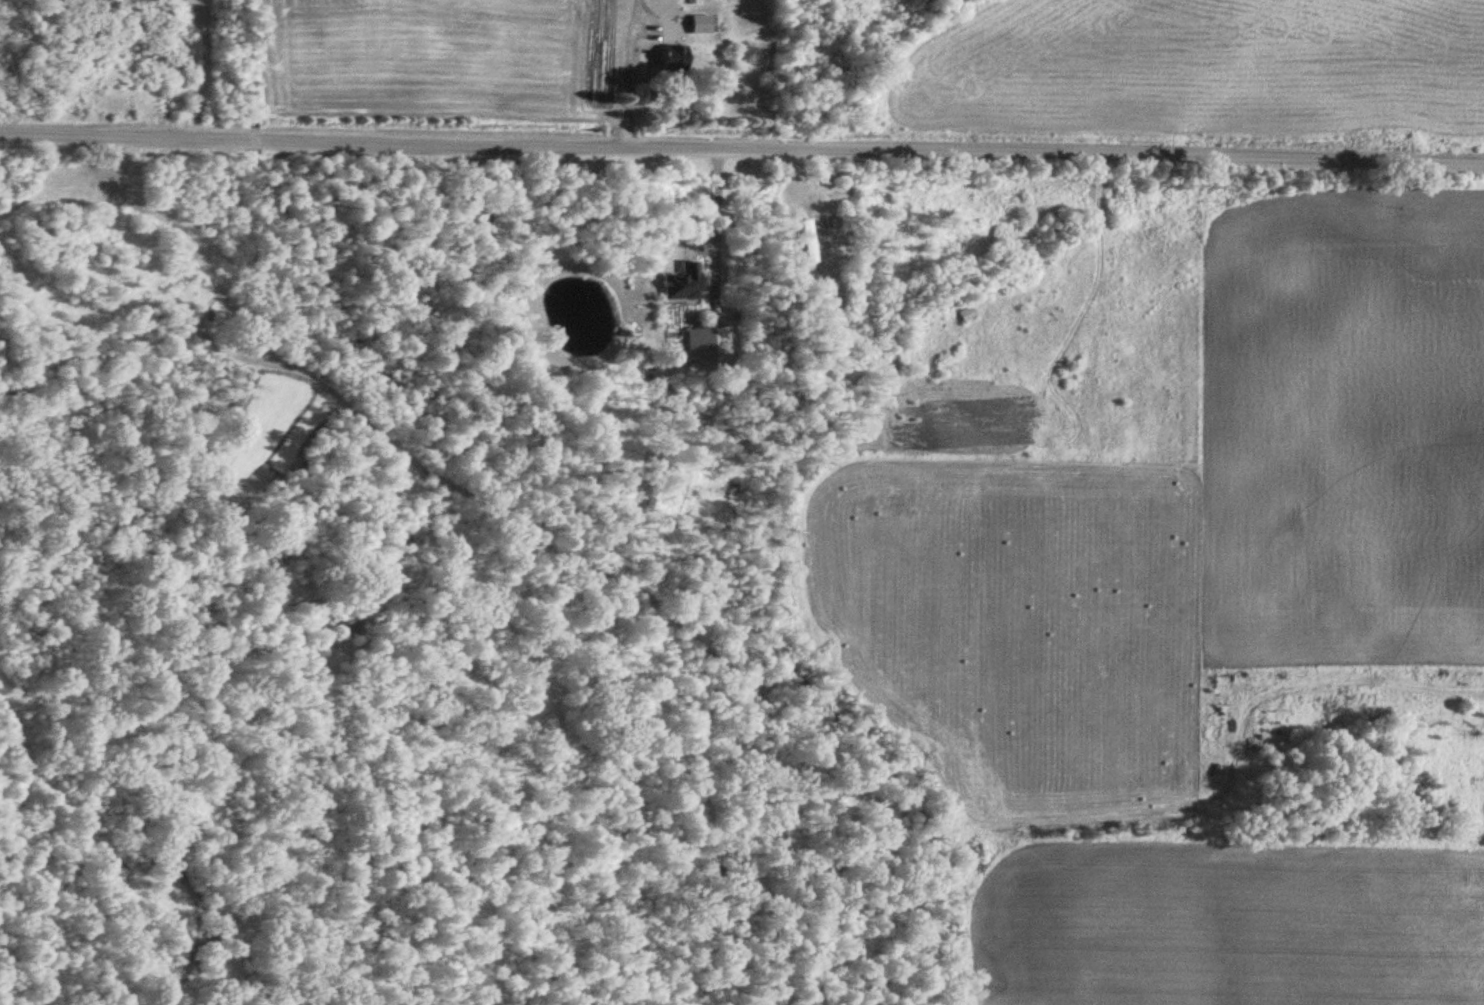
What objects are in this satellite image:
building: (703, 25)
building: (677, 59)
road: (622, 73)
road: (742, 151)
road: (710, 227)
building: (684, 284)
building: (707, 347)

